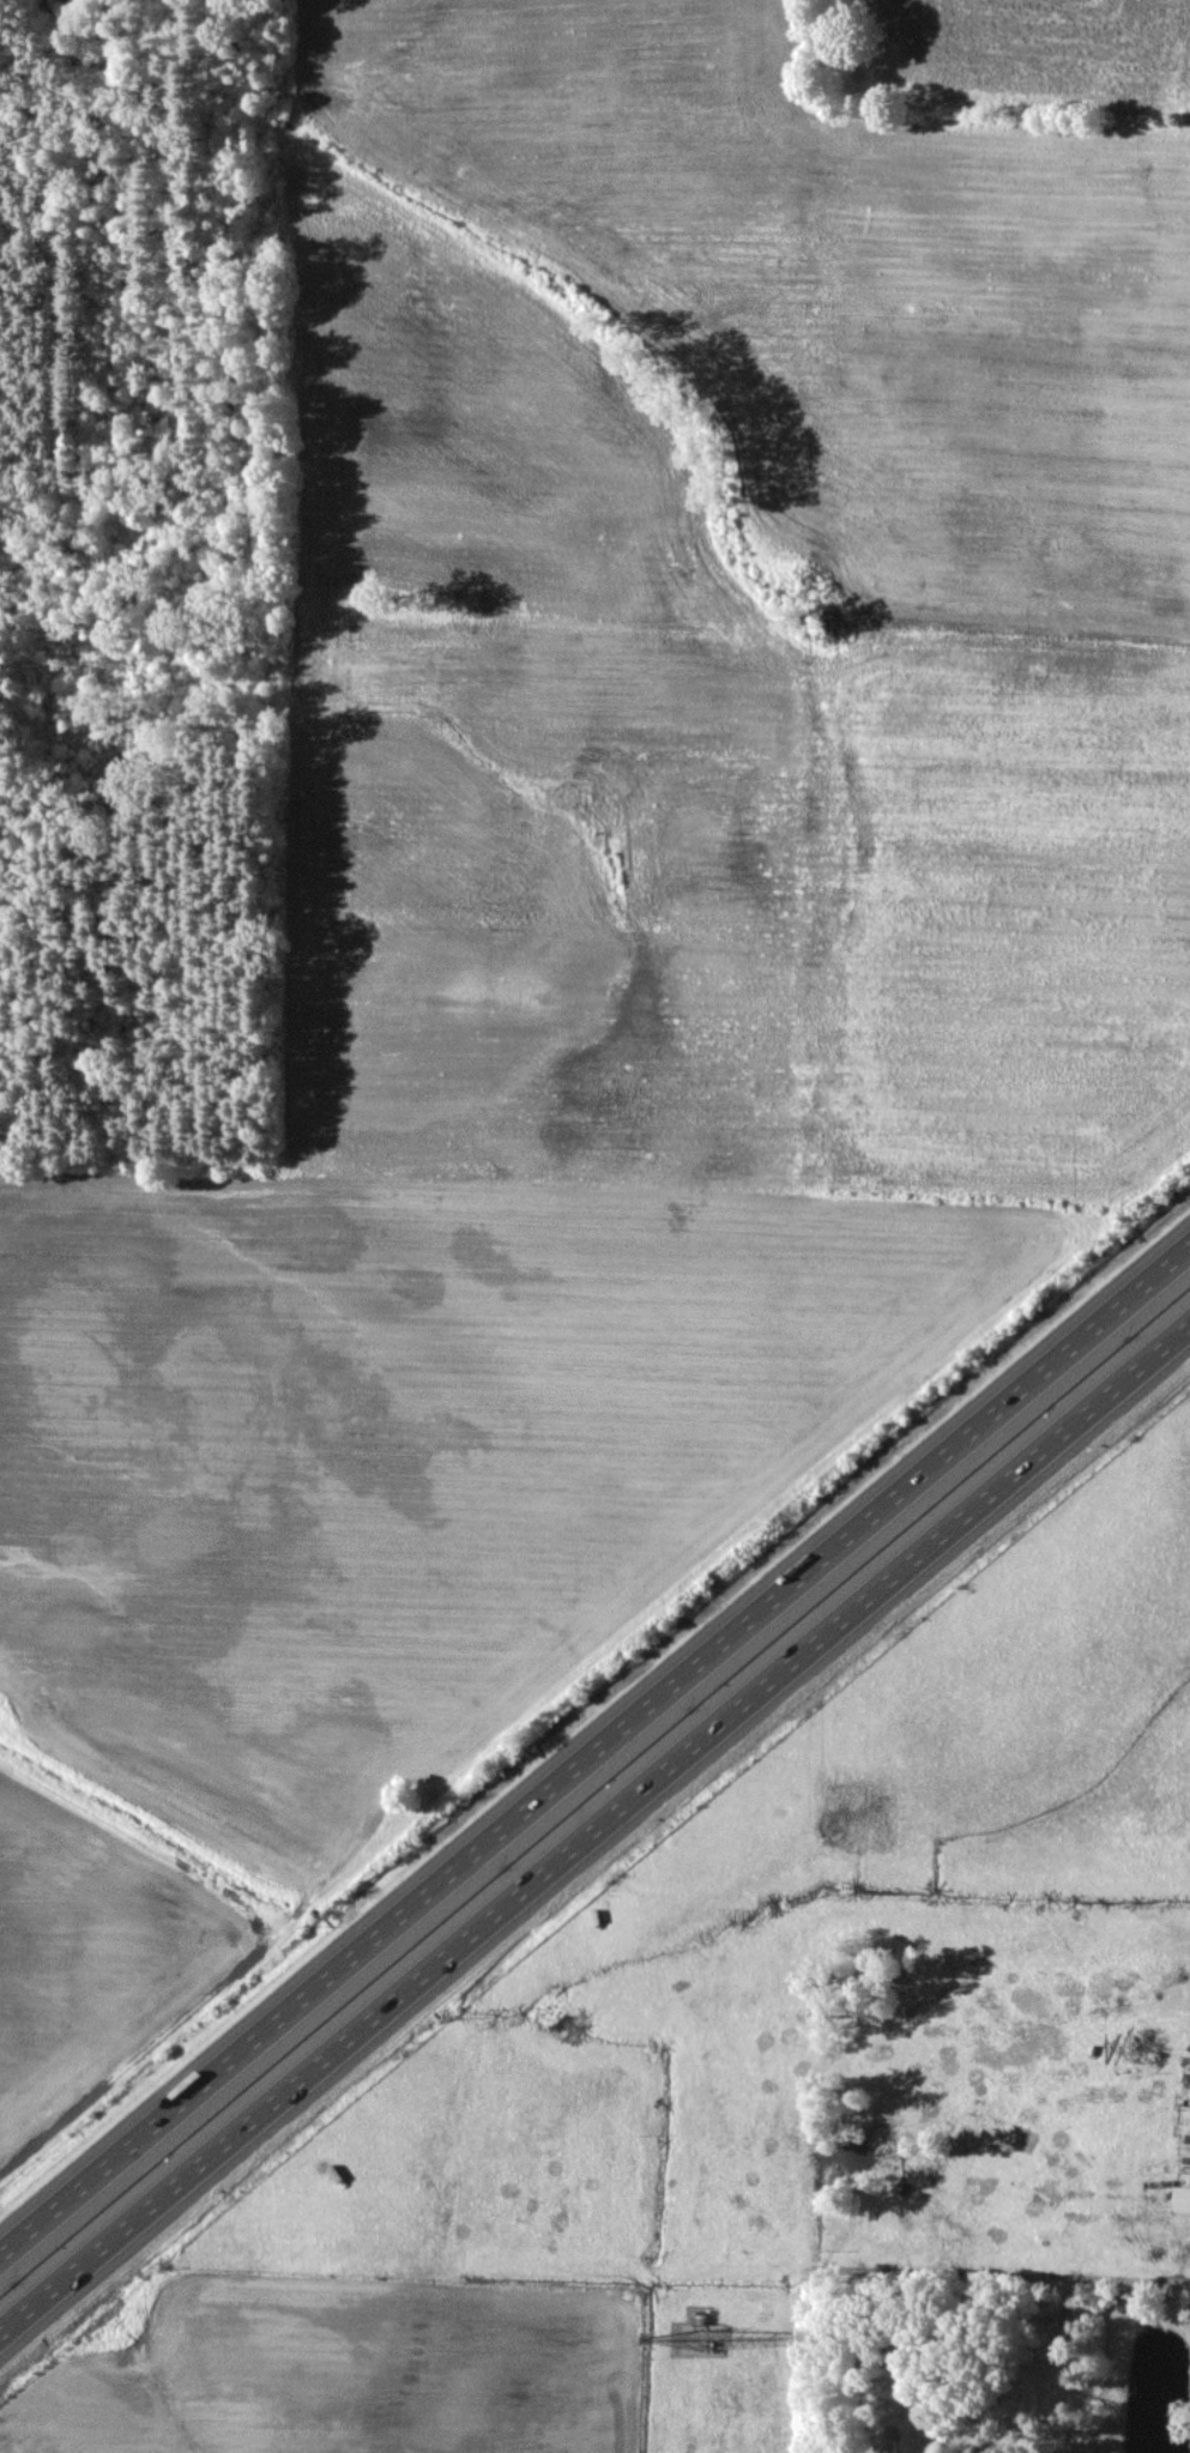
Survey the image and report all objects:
road: (594, 1748)
road: (594, 1827)
building: (1182, 2198)

